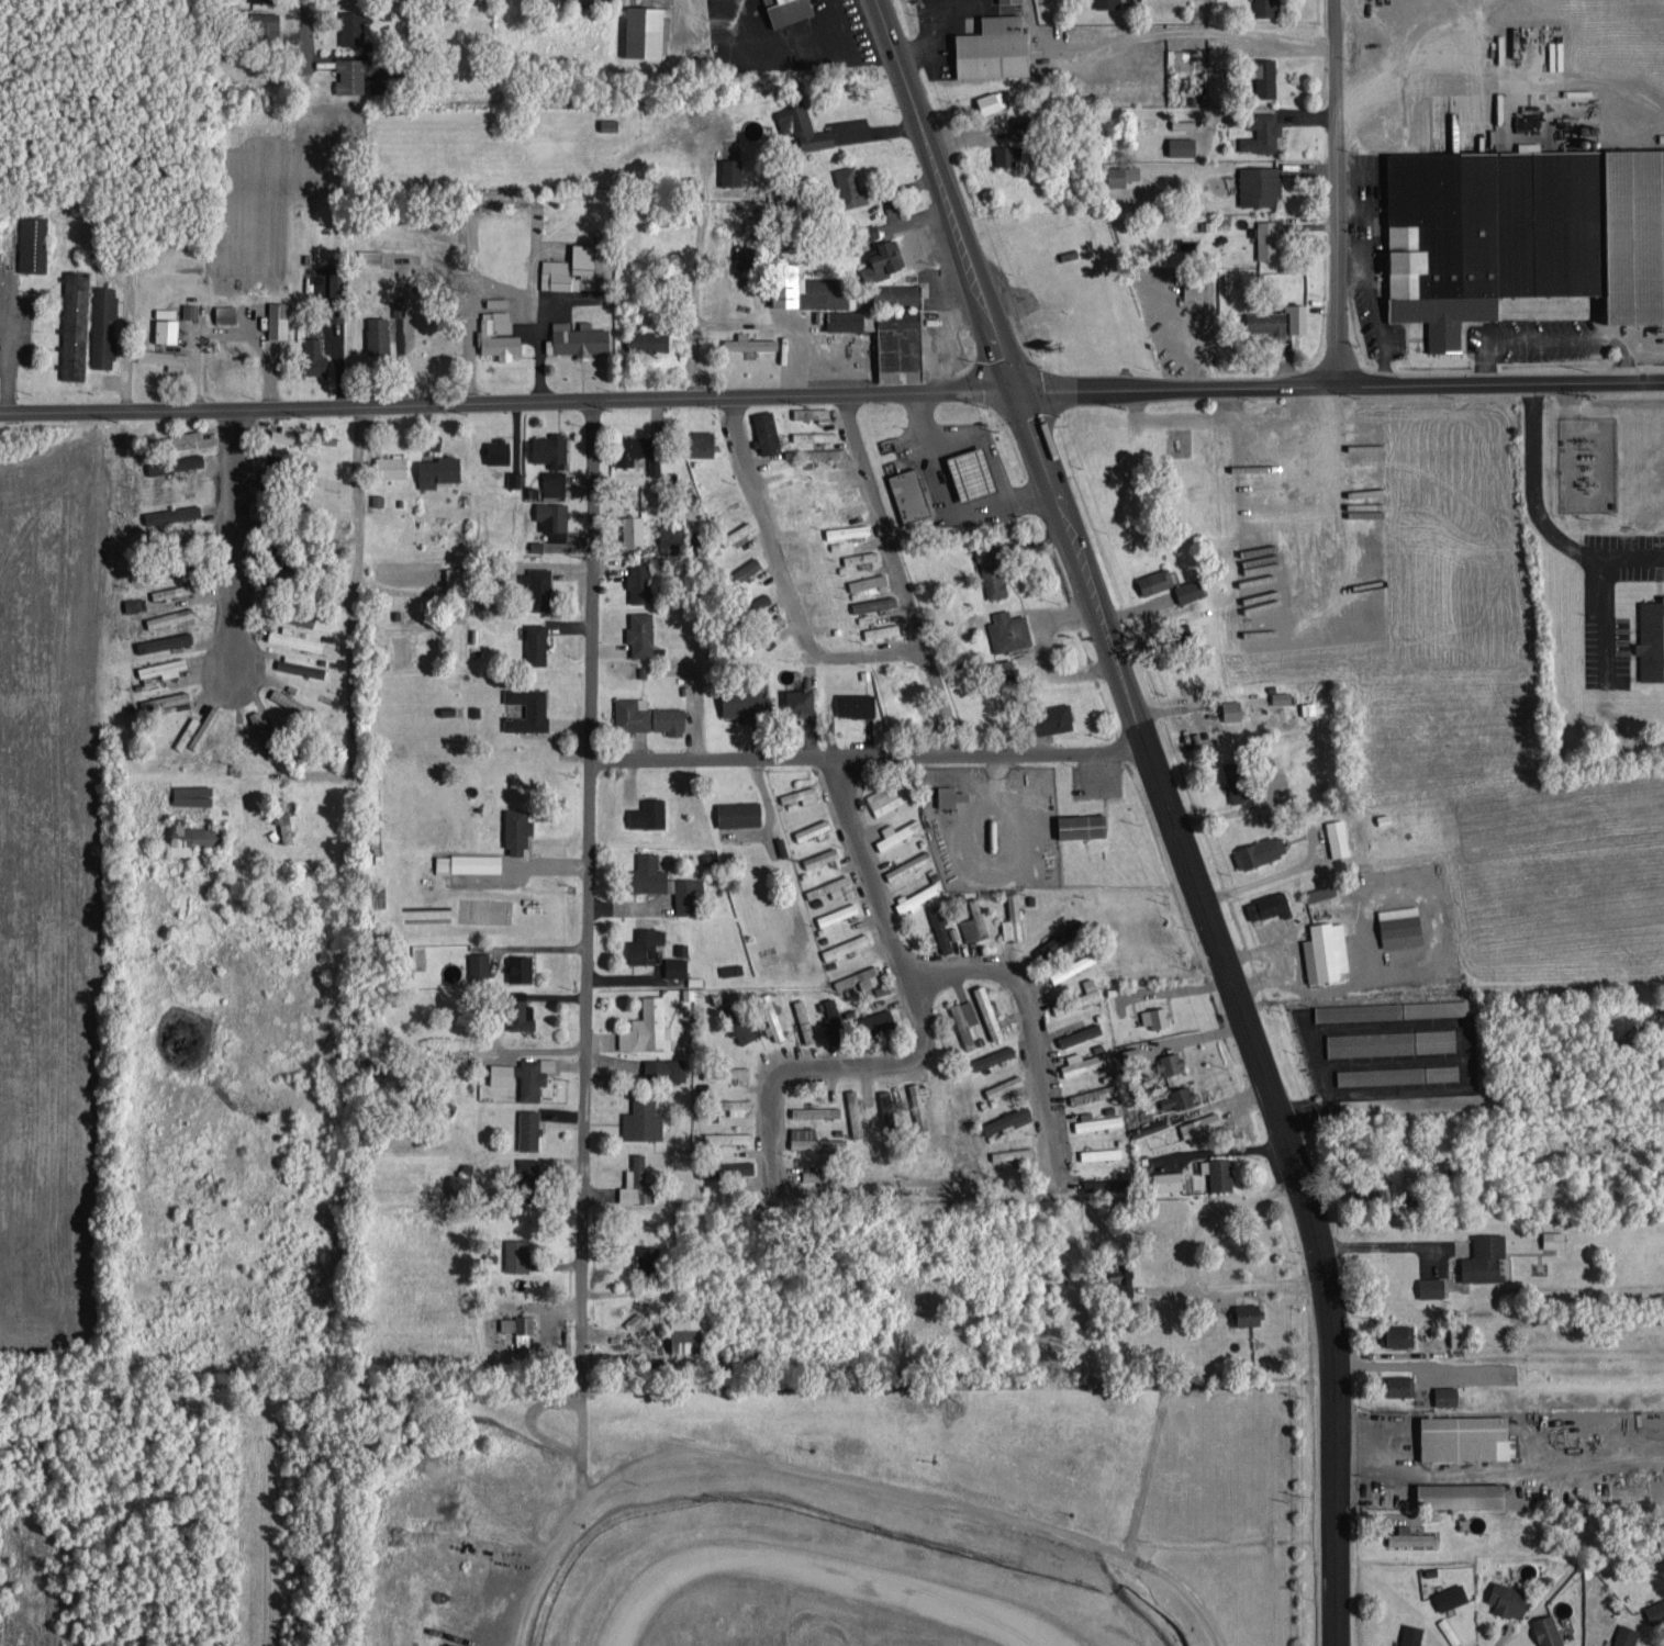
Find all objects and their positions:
building: (261, 0)
building: (1010, 0)
building: (1107, 2)
building: (1267, 7)
building: (788, 10)
road: (308, 16)
building: (265, 24)
building: (351, 26)
building: (646, 30)
building: (996, 47)
building: (350, 74)
building: (1264, 76)
building: (378, 87)
building: (992, 100)
building: (1184, 121)
building: (610, 123)
building: (803, 126)
building: (751, 127)
building: (1020, 130)
building: (1261, 131)
building: (1183, 144)
building: (1529, 144)
building: (1004, 154)
building: (732, 170)
building: (1123, 173)
building: (850, 183)
building: (1260, 183)
road: (702, 190)
road: (1334, 192)
building: (755, 215)
building: (1522, 232)
building: (1267, 238)
building: (32, 242)
building: (366, 258)
building: (883, 259)
building: (571, 268)
building: (1195, 285)
building: (399, 306)
building: (188, 309)
building: (226, 312)
building: (278, 318)
building: (1280, 318)
building: (74, 323)
building: (103, 325)
building: (892, 328)
building: (167, 329)
building: (379, 334)
building: (499, 334)
building: (578, 337)
building: (648, 338)
building: (751, 340)
road: (3, 351)
building: (165, 357)
building: (315, 357)
traffic signals: (1009, 384)
road: (1337, 385)
road: (504, 396)
building: (811, 411)
building: (767, 430)
building: (814, 434)
building: (289, 436)
building: (177, 439)
building: (703, 441)
building: (636, 447)
building: (550, 448)
building: (498, 449)
building: (825, 451)
building: (196, 459)
building: (391, 464)
building: (654, 464)
building: (437, 469)
building: (835, 470)
building: (514, 477)
building: (267, 479)
building: (970, 479)
building: (554, 482)
building: (790, 488)
building: (911, 493)
road: (948, 496)
gas station: (908, 500)
building: (844, 507)
building: (172, 513)
building: (554, 518)
building: (633, 528)
building: (848, 529)
building: (738, 531)
road: (230, 537)
building: (671, 537)
building: (860, 556)
building: (749, 566)
building: (992, 570)
road: (896, 571)
road: (784, 573)
building: (459, 578)
building: (868, 580)
building: (1155, 580)
building: (639, 582)
road: (353, 584)
building: (539, 585)
building: (1190, 589)
building: (174, 590)
building: (762, 598)
building: (873, 602)
building: (882, 629)
building: (1008, 629)
building: (641, 631)
building: (182, 637)
building: (1650, 637)
building: (294, 638)
building: (537, 642)
building: (146, 643)
building: (299, 664)
building: (164, 667)
building: (1005, 668)
building: (1281, 696)
building: (166, 698)
building: (290, 699)
building: (802, 701)
building: (746, 703)
building: (856, 703)
building: (1308, 707)
building: (527, 708)
building: (1232, 708)
building: (633, 713)
building: (1056, 716)
building: (670, 719)
building: (260, 729)
building: (187, 731)
road: (865, 753)
building: (1238, 777)
building: (193, 793)
building: (951, 793)
building: (801, 794)
building: (887, 796)
road: (1163, 809)
building: (648, 811)
building: (740, 811)
building: (1084, 822)
building: (516, 825)
building: (283, 826)
building: (811, 828)
building: (898, 830)
building: (193, 835)
building: (1338, 836)
building: (1260, 850)
building: (820, 854)
building: (443, 860)
building: (477, 861)
road: (863, 861)
building: (908, 863)
building: (667, 882)
building: (830, 885)
building: (1320, 891)
building: (918, 894)
building: (1269, 904)
building: (838, 911)
building: (1012, 919)
building: (973, 920)
building: (1400, 923)
building: (939, 927)
building: (1059, 938)
building: (646, 942)
building: (846, 943)
building: (680, 947)
road: (587, 948)
building: (1327, 950)
building: (479, 962)
building: (1073, 964)
building: (520, 965)
building: (675, 965)
building: (729, 967)
building: (859, 976)
building: (1088, 982)
building: (1091, 994)
building: (1064, 1001)
building: (1391, 1008)
building: (987, 1010)
building: (521, 1015)
building: (1155, 1015)
building: (804, 1019)
building: (879, 1019)
building: (963, 1019)
building: (739, 1020)
building: (772, 1020)
building: (835, 1020)
building: (647, 1026)
building: (1079, 1032)
building: (1389, 1040)
building: (1131, 1052)
building: (994, 1055)
building: (1084, 1060)
building: (1170, 1062)
building: (665, 1066)
building: (725, 1070)
building: (1397, 1072)
building: (524, 1073)
building: (1004, 1084)
building: (1093, 1091)
building: (917, 1094)
building: (1177, 1096)
building: (738, 1104)
building: (887, 1109)
building: (814, 1110)
building: (855, 1117)
building: (1008, 1117)
building: (643, 1119)
building: (1096, 1119)
building: (1203, 1124)
building: (528, 1127)
building: (728, 1135)
building: (813, 1138)
building: (1013, 1151)
building: (1102, 1151)
building: (741, 1165)
building: (529, 1169)
building: (1218, 1171)
building: (816, 1174)
building: (635, 1177)
building: (1169, 1178)
building: (459, 1183)
building: (1106, 1186)
road: (878, 1190)
building: (1553, 1238)
building: (516, 1253)
building: (648, 1255)
building: (1485, 1256)
building: (1120, 1273)
building: (1431, 1286)
building: (1249, 1312)
building: (518, 1324)
building: (689, 1331)
building: (1398, 1333)
building: (1460, 1333)
building: (1400, 1384)
building: (1447, 1393)
building: (1466, 1435)
road: (836, 1478)
building: (1464, 1493)
building: (1411, 1535)
road: (257, 1541)
raceway: (819, 1569)
building: (1450, 1594)
building: (1508, 1598)
building: (1655, 1610)
building: (1548, 1630)
building: (1411, 1634)
building: (1624, 1634)

